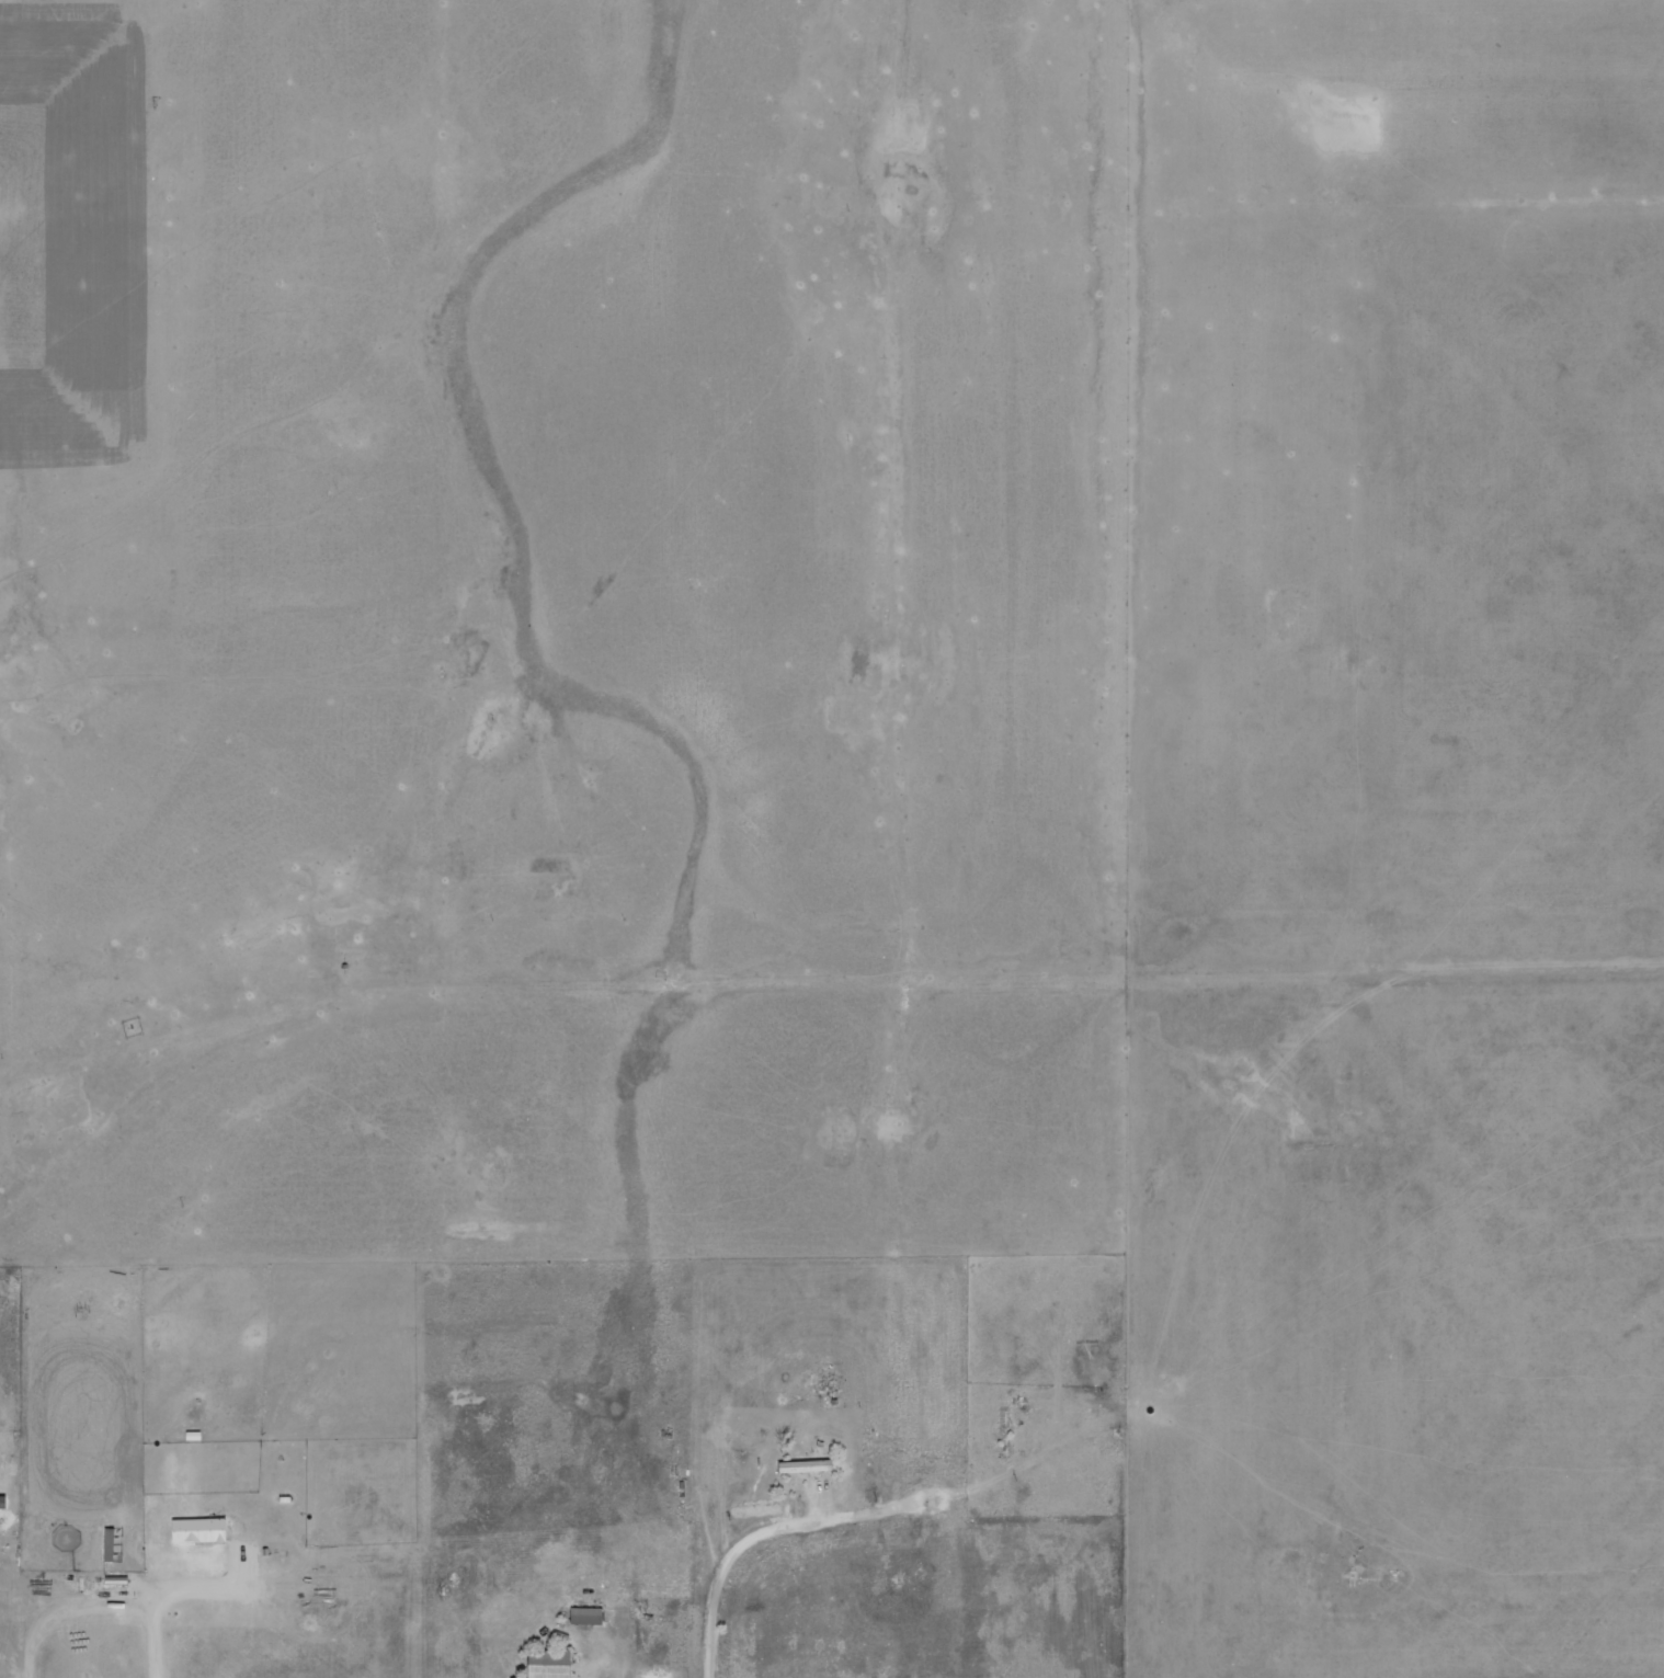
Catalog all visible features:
building: (805, 1465)
building: (198, 1529)
building: (586, 1616)
building: (548, 1664)

